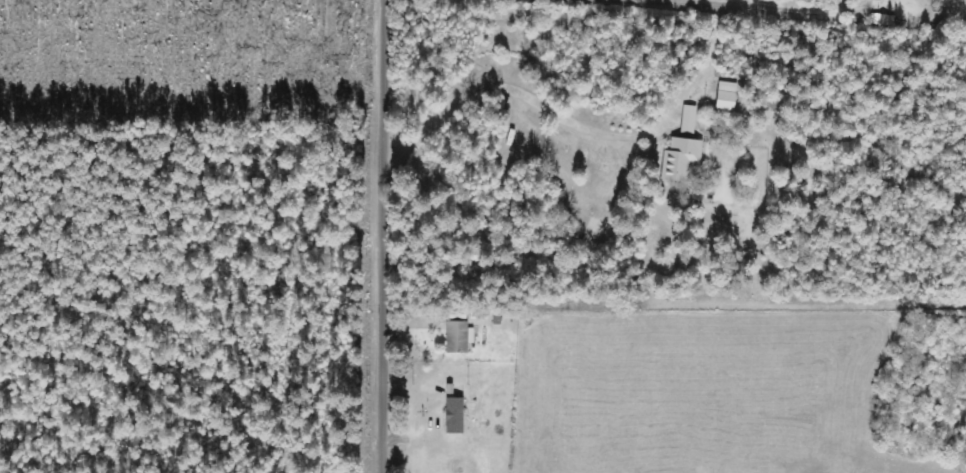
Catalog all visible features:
building: (725, 96)
road: (680, 135)
building: (682, 150)
road: (391, 236)
road: (572, 303)
building: (454, 414)

